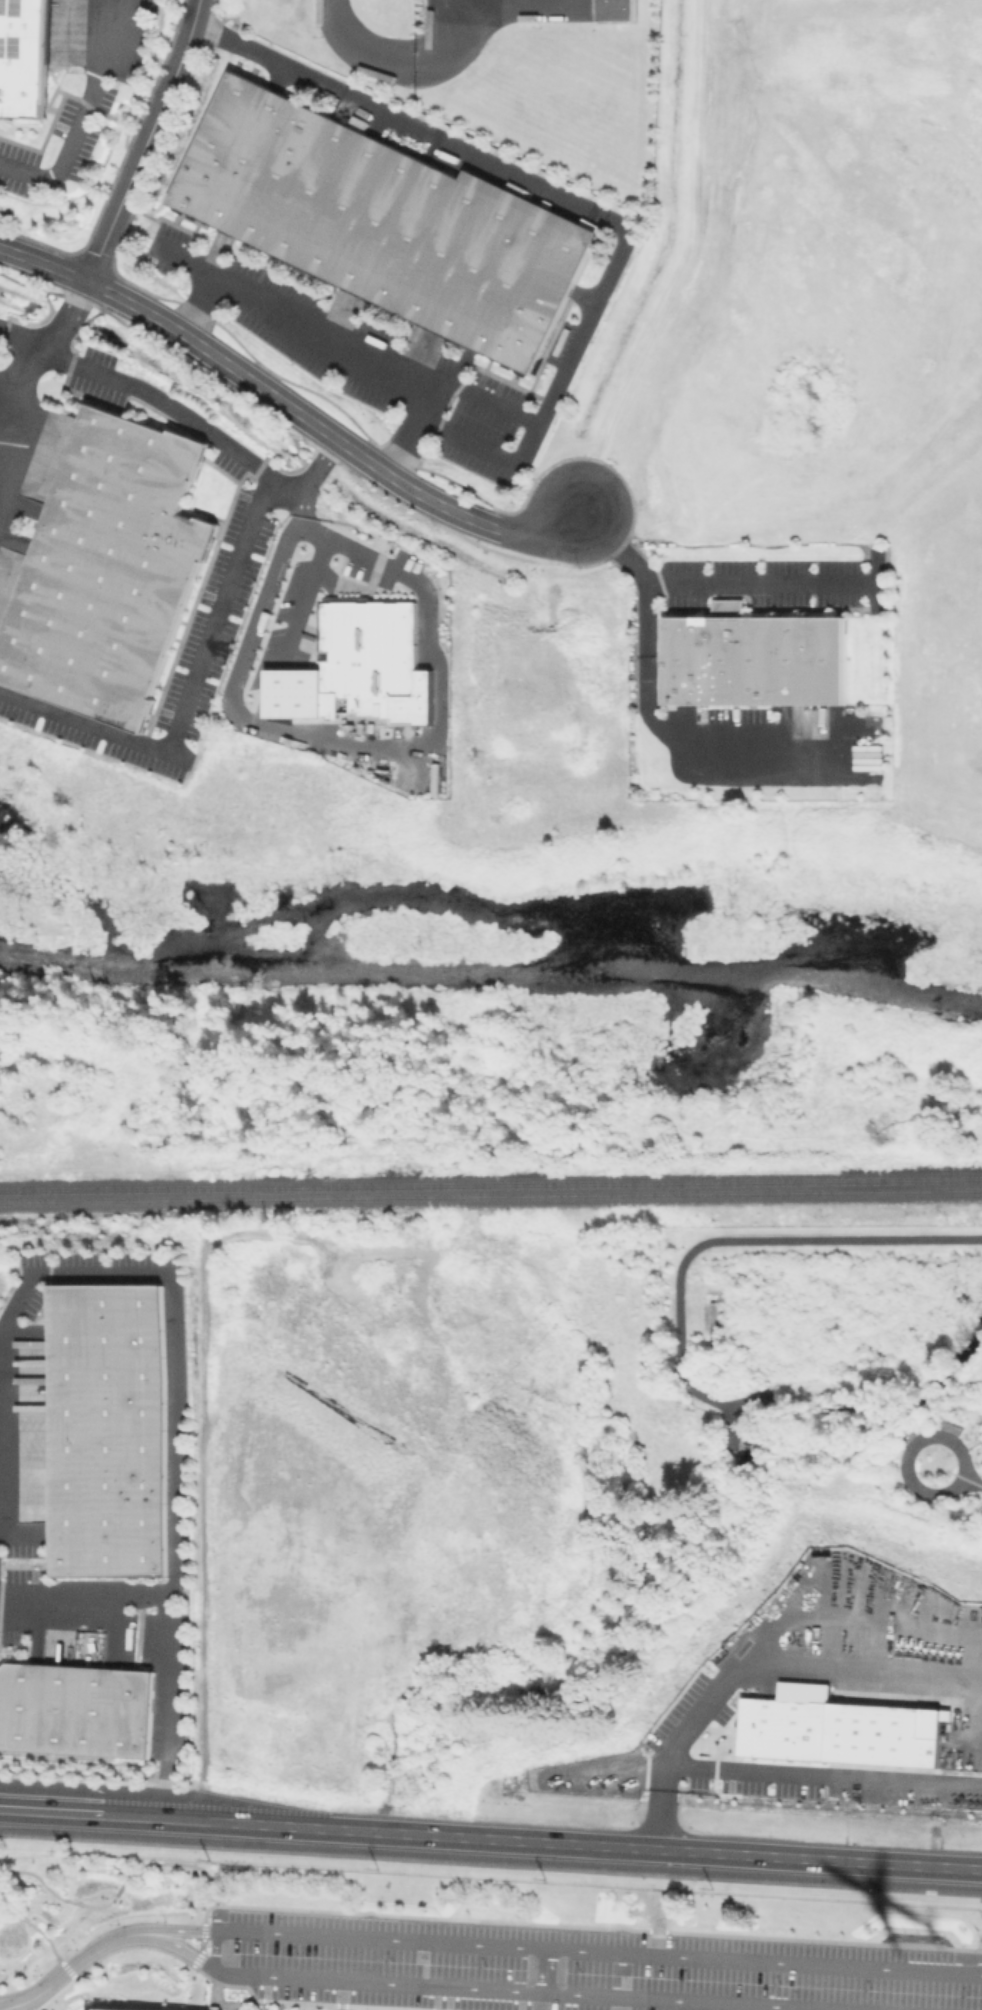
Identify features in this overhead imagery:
building: (613, 10)
road: (468, 25)
road: (363, 49)
building: (24, 57)
road: (82, 116)
road: (146, 141)
road: (508, 169)
building: (387, 223)
road: (683, 265)
road: (211, 282)
road: (37, 356)
road: (362, 360)
road: (286, 405)
road: (182, 416)
road: (533, 436)
road: (341, 545)
road: (639, 570)
building: (111, 572)
road: (761, 582)
building: (731, 608)
road: (293, 631)
building: (377, 657)
building: (756, 661)
road: (189, 695)
building: (404, 734)
road: (315, 741)
road: (710, 758)
railway: (491, 1183)
railway: (490, 1195)
road: (721, 1240)
road: (174, 1335)
building: (112, 1431)
road: (970, 1443)
road: (910, 1452)
road: (973, 1483)
road: (162, 1625)
road: (797, 1664)
building: (76, 1710)
building: (836, 1728)
road: (781, 1772)
road: (81, 1813)
road: (572, 1844)
road: (195, 1867)
road: (32, 1874)
road: (118, 1888)
road: (69, 1901)
road: (98, 1905)
road: (6, 1908)
road: (20, 1918)
road: (218, 1932)
road: (48, 1945)
road: (216, 1950)
road: (75, 1963)
road: (549, 1972)
road: (2, 2009)

